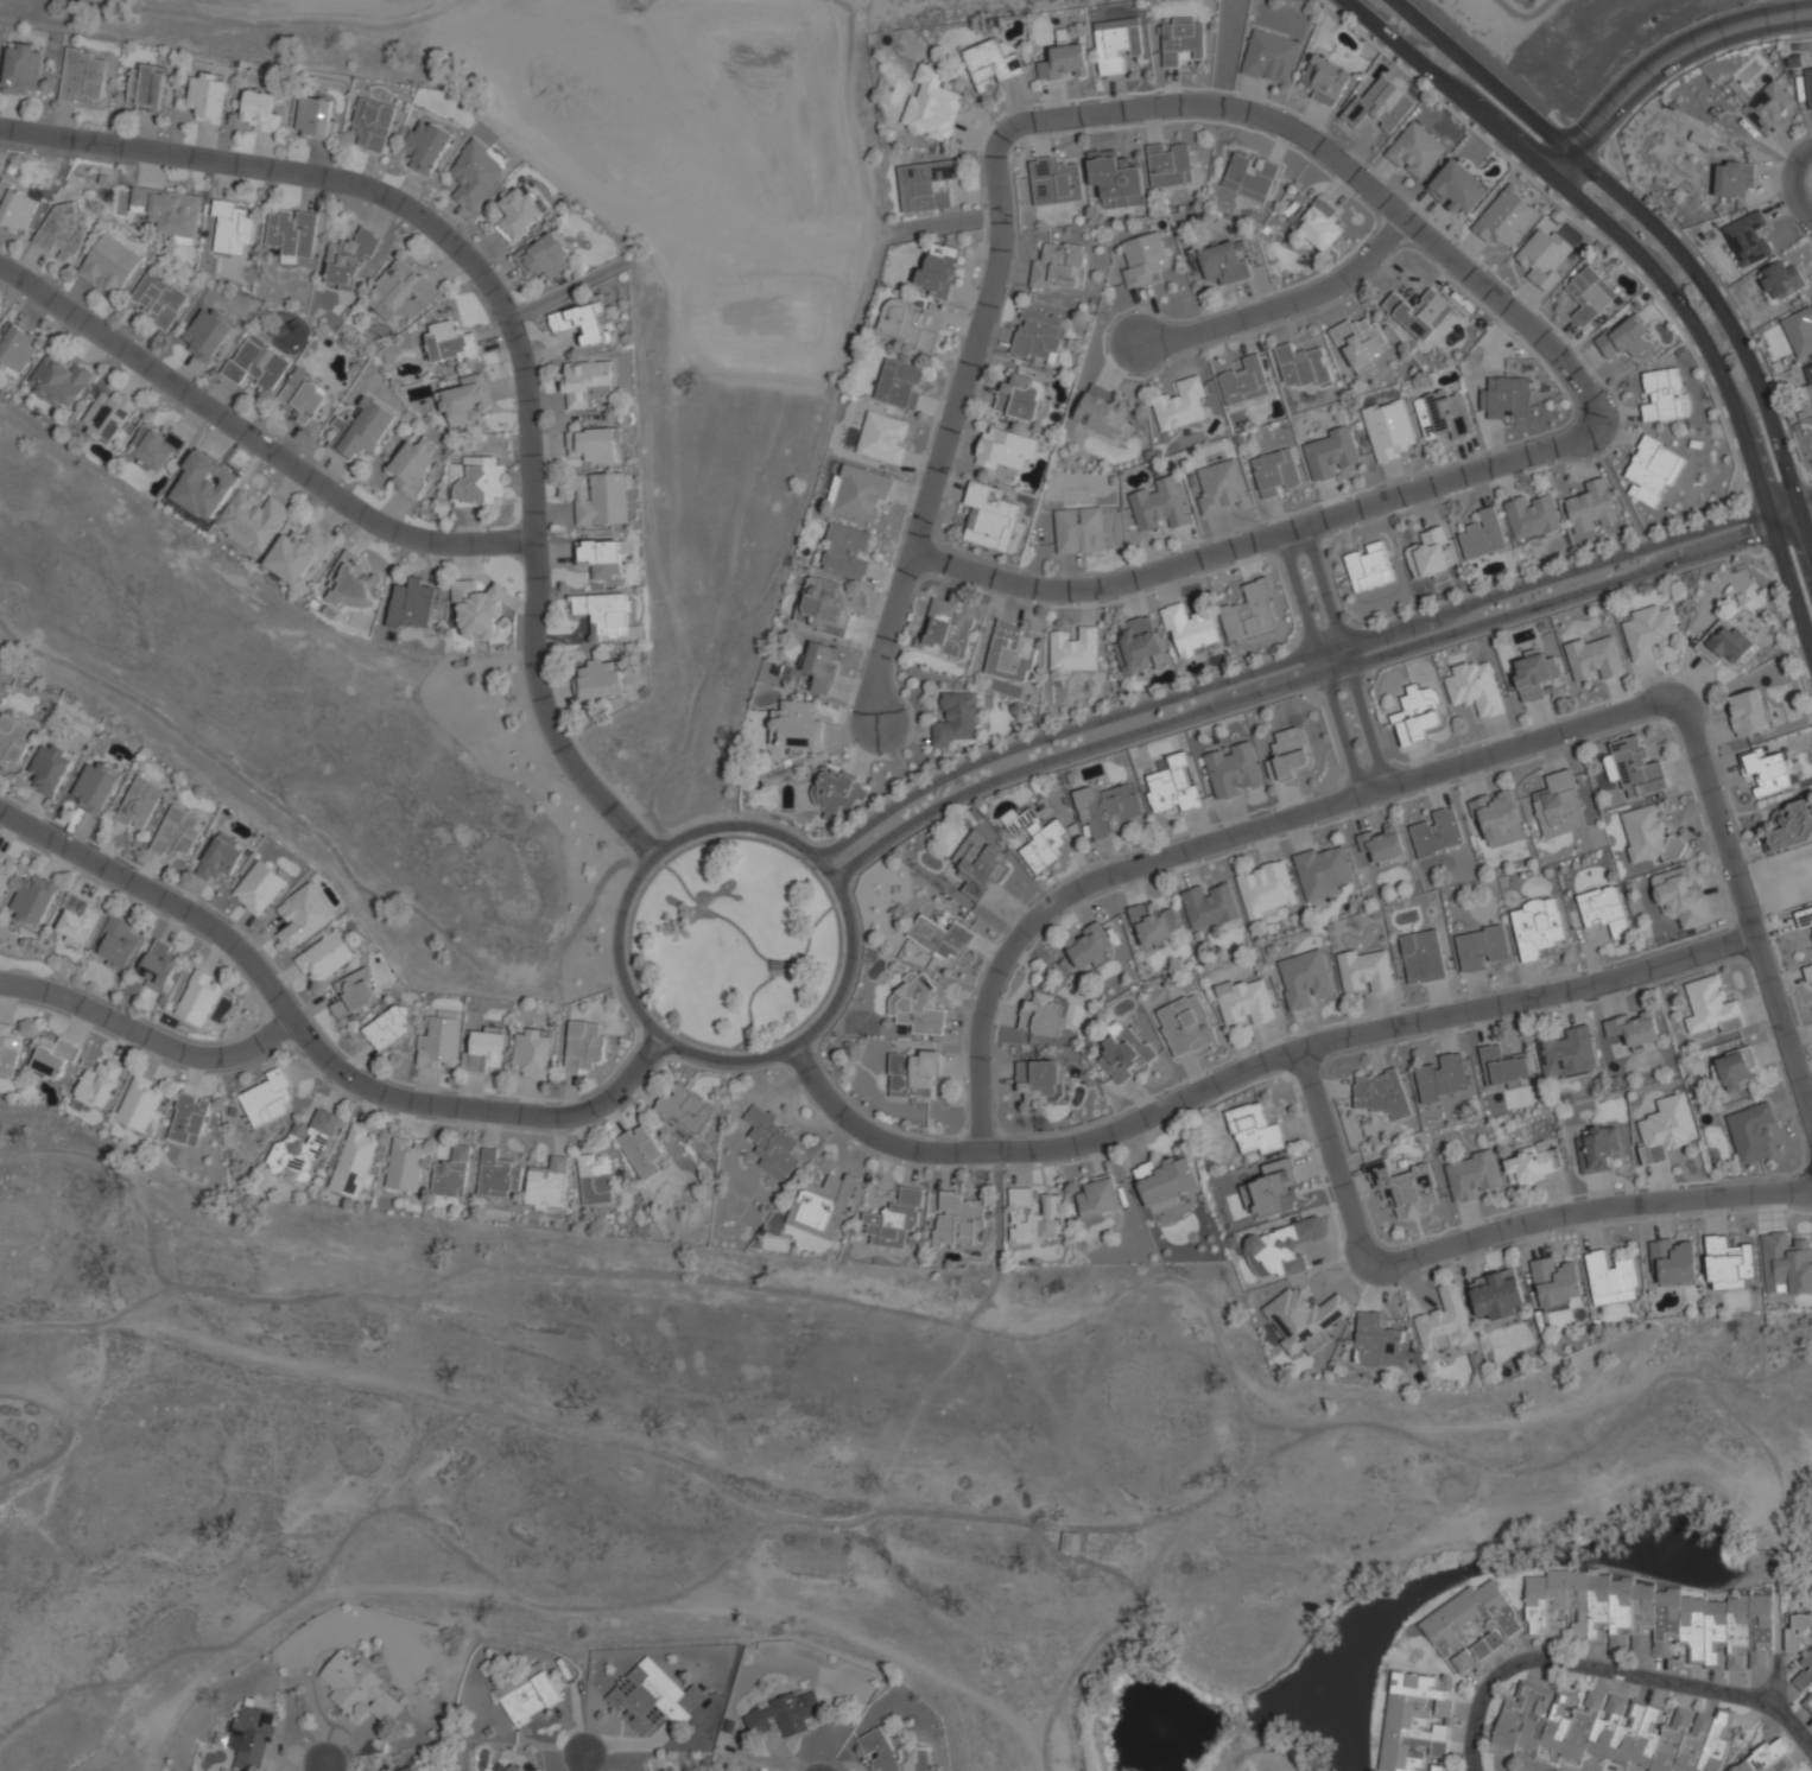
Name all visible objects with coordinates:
park: (1468, 11)
building: (1183, 39)
building: (1117, 43)
building: (1271, 57)
building: (1065, 62)
building: (991, 65)
building: (21, 66)
road: (1668, 70)
building: (83, 75)
building: (1328, 82)
building: (1808, 84)
building: (146, 88)
building: (208, 96)
building: (932, 104)
building: (1381, 104)
building: (1768, 108)
building: (260, 112)
building: (316, 119)
street lamp: (997, 122)
building: (373, 123)
building: (426, 147)
building: (1417, 152)
building: (1170, 165)
building: (475, 176)
building: (1116, 178)
building: (1250, 178)
building: (1734, 178)
building: (1054, 182)
building: (927, 185)
building: (1457, 186)
road: (1804, 186)
building: (17, 208)
building: (169, 210)
building: (519, 215)
building: (1506, 217)
building: (1319, 224)
building: (233, 227)
road: (1660, 230)
street lamp: (1375, 231)
building: (291, 233)
building: (61, 234)
building: (1748, 239)
building: (1544, 255)
building: (544, 256)
building: (1145, 258)
road: (1451, 258)
building: (350, 261)
building: (1224, 261)
building: (109, 264)
building: (1060, 267)
building: (938, 269)
road: (1652, 269)
building: (1781, 281)
building: (401, 292)
building: (1590, 294)
building: (159, 298)
road: (1286, 305)
building: (1419, 311)
building: (582, 322)
building: (906, 325)
road: (506, 326)
building: (1800, 332)
building: (208, 334)
building: (1040, 336)
building: (1623, 336)
building: (450, 342)
building: (1362, 342)
building: (18, 345)
building: (258, 363)
building: (1304, 367)
building: (59, 381)
building: (587, 382)
building: (1246, 382)
building: (900, 383)
building: (1807, 385)
building: (1662, 395)
building: (1020, 398)
building: (1507, 398)
building: (305, 399)
building: (465, 401)
building: (1181, 405)
building: (1101, 412)
building: (1444, 414)
building: (108, 415)
street lamp: (1618, 429)
building: (362, 430)
building: (1390, 430)
building: (883, 438)
road: (255, 442)
building: (594, 445)
building: (157, 446)
building: (1006, 449)
building: (1331, 453)
building: (414, 464)
street lamp: (1797, 468)
building: (1653, 471)
building: (1275, 474)
building: (477, 481)
building: (204, 484)
building: (1221, 488)
building: (860, 493)
building: (600, 497)
building: (1592, 507)
building: (1159, 508)
building: (1533, 516)
building: (991, 518)
building: (252, 520)
street lamp: (933, 529)
building: (1081, 531)
building: (1484, 537)
building: (845, 551)
building: (299, 553)
street lamp: (1325, 553)
building: (1431, 554)
building: (600, 558)
building: (1369, 566)
building: (351, 583)
building: (412, 603)
building: (824, 605)
building: (476, 608)
building: (1250, 614)
building: (608, 617)
street lamp: (1373, 626)
building: (948, 630)
building: (1192, 630)
building: (1651, 631)
road: (885, 637)
building: (1725, 642)
building: (1140, 647)
building: (1075, 649)
building: (1010, 653)
road: (1304, 655)
road: (1345, 656)
building: (1597, 656)
road: (1320, 665)
building: (821, 667)
building: (1535, 675)
road: (1311, 678)
building: (600, 680)
building: (1476, 687)
building: (1750, 712)
building: (1420, 716)
building: (957, 719)
street lamp: (1647, 721)
building: (797, 725)
building: (12, 739)
building: (1290, 754)
building: (1634, 768)
building: (49, 769)
building: (1233, 770)
road: (1440, 772)
building: (1768, 773)
building: (95, 787)
building: (1174, 787)
building: (838, 792)
street lamp: (1324, 794)
building: (139, 802)
building: (1559, 806)
building: (1108, 808)
building: (1497, 817)
building: (1789, 826)
building: (176, 833)
building: (1438, 833)
building: (1648, 836)
street lamp: (836, 839)
building: (1040, 840)
building: (1382, 844)
street lamp: (625, 845)
building: (220, 857)
building: (980, 864)
street lamp: (133, 869)
building: (1325, 871)
building: (6, 875)
building: (258, 887)
building: (1267, 890)
street lamp: (1046, 893)
building: (1680, 899)
building: (33, 901)
building: (1211, 906)
building: (1604, 909)
building: (304, 915)
building: (1804, 918)
building: (75, 921)
building: (1154, 926)
building: (1538, 927)
building: (940, 938)
building: (118, 942)
road: (749, 945)
building: (1089, 946)
building: (1482, 948)
building: (324, 957)
building: (1424, 958)
street lamp: (1728, 959)
building: (159, 966)
building: (1368, 969)
building: (1808, 972)
building: (1304, 978)
building: (353, 992)
building: (199, 997)
building: (1246, 999)
building: (918, 1004)
road: (748, 1007)
building: (1711, 1007)
building: (1044, 1015)
road: (651, 1026)
building: (1186, 1026)
building: (387, 1027)
building: (1635, 1029)
street lamp: (823, 1033)
road: (147, 1037)
building: (438, 1042)
building: (583, 1046)
road: (317, 1047)
building: (8, 1049)
building: (483, 1050)
road: (724, 1050)
building: (1123, 1052)
street lamp: (300, 1053)
building: (531, 1054)
street lamp: (1336, 1054)
building: (1569, 1054)
building: (53, 1055)
road: (772, 1055)
street lamp: (685, 1060)
road: (802, 1060)
road: (1252, 1067)
building: (1503, 1067)
road: (712, 1068)
building: (1736, 1071)
building: (914, 1074)
road: (794, 1079)
building: (1443, 1079)
building: (1040, 1081)
road: (784, 1086)
road: (639, 1087)
road: (640, 1088)
building: (1381, 1093)
building: (267, 1098)
building: (139, 1103)
building: (684, 1107)
building: (189, 1119)
building: (1666, 1128)
building: (1254, 1130)
building: (1751, 1132)
street lamp: (946, 1141)
building: (772, 1142)
building: (303, 1147)
building: (1597, 1149)
building: (640, 1150)
building: (355, 1161)
building: (405, 1164)
building: (1533, 1167)
building: (452, 1174)
building: (498, 1175)
building: (1471, 1175)
building: (595, 1179)
building: (1166, 1179)
street lamp: (1781, 1179)
building: (547, 1185)
building: (1271, 1189)
building: (1405, 1189)
building: (1098, 1196)
building: (822, 1205)
building: (1031, 1217)
building: (894, 1219)
building: (958, 1220)
road: (1482, 1237)
building: (1281, 1248)
street lamp: (1406, 1248)
building: (1673, 1262)
building: (1786, 1263)
building: (1728, 1264)
building: (1610, 1280)
building: (1556, 1283)
building: (1496, 1295)
building: (1304, 1319)
building: (1444, 1321)
building: (1377, 1342)
building: (1468, 1618)
building: (1654, 1619)
building: (1487, 1644)
building: (1801, 1648)
building: (1463, 1661)
road: (1613, 1671)
road: (1778, 1682)
building: (360, 1689)
building: (527, 1694)
building: (653, 1697)
building: (1807, 1702)
building: (785, 1714)
building: (1412, 1721)
building: (1611, 1729)
building: (251, 1735)
building: (880, 1751)
building: (1772, 1759)
road: (583, 1763)
road: (325, 1767)
building: (410, 1767)
building: (513, 1767)
building: (1438, 1767)

